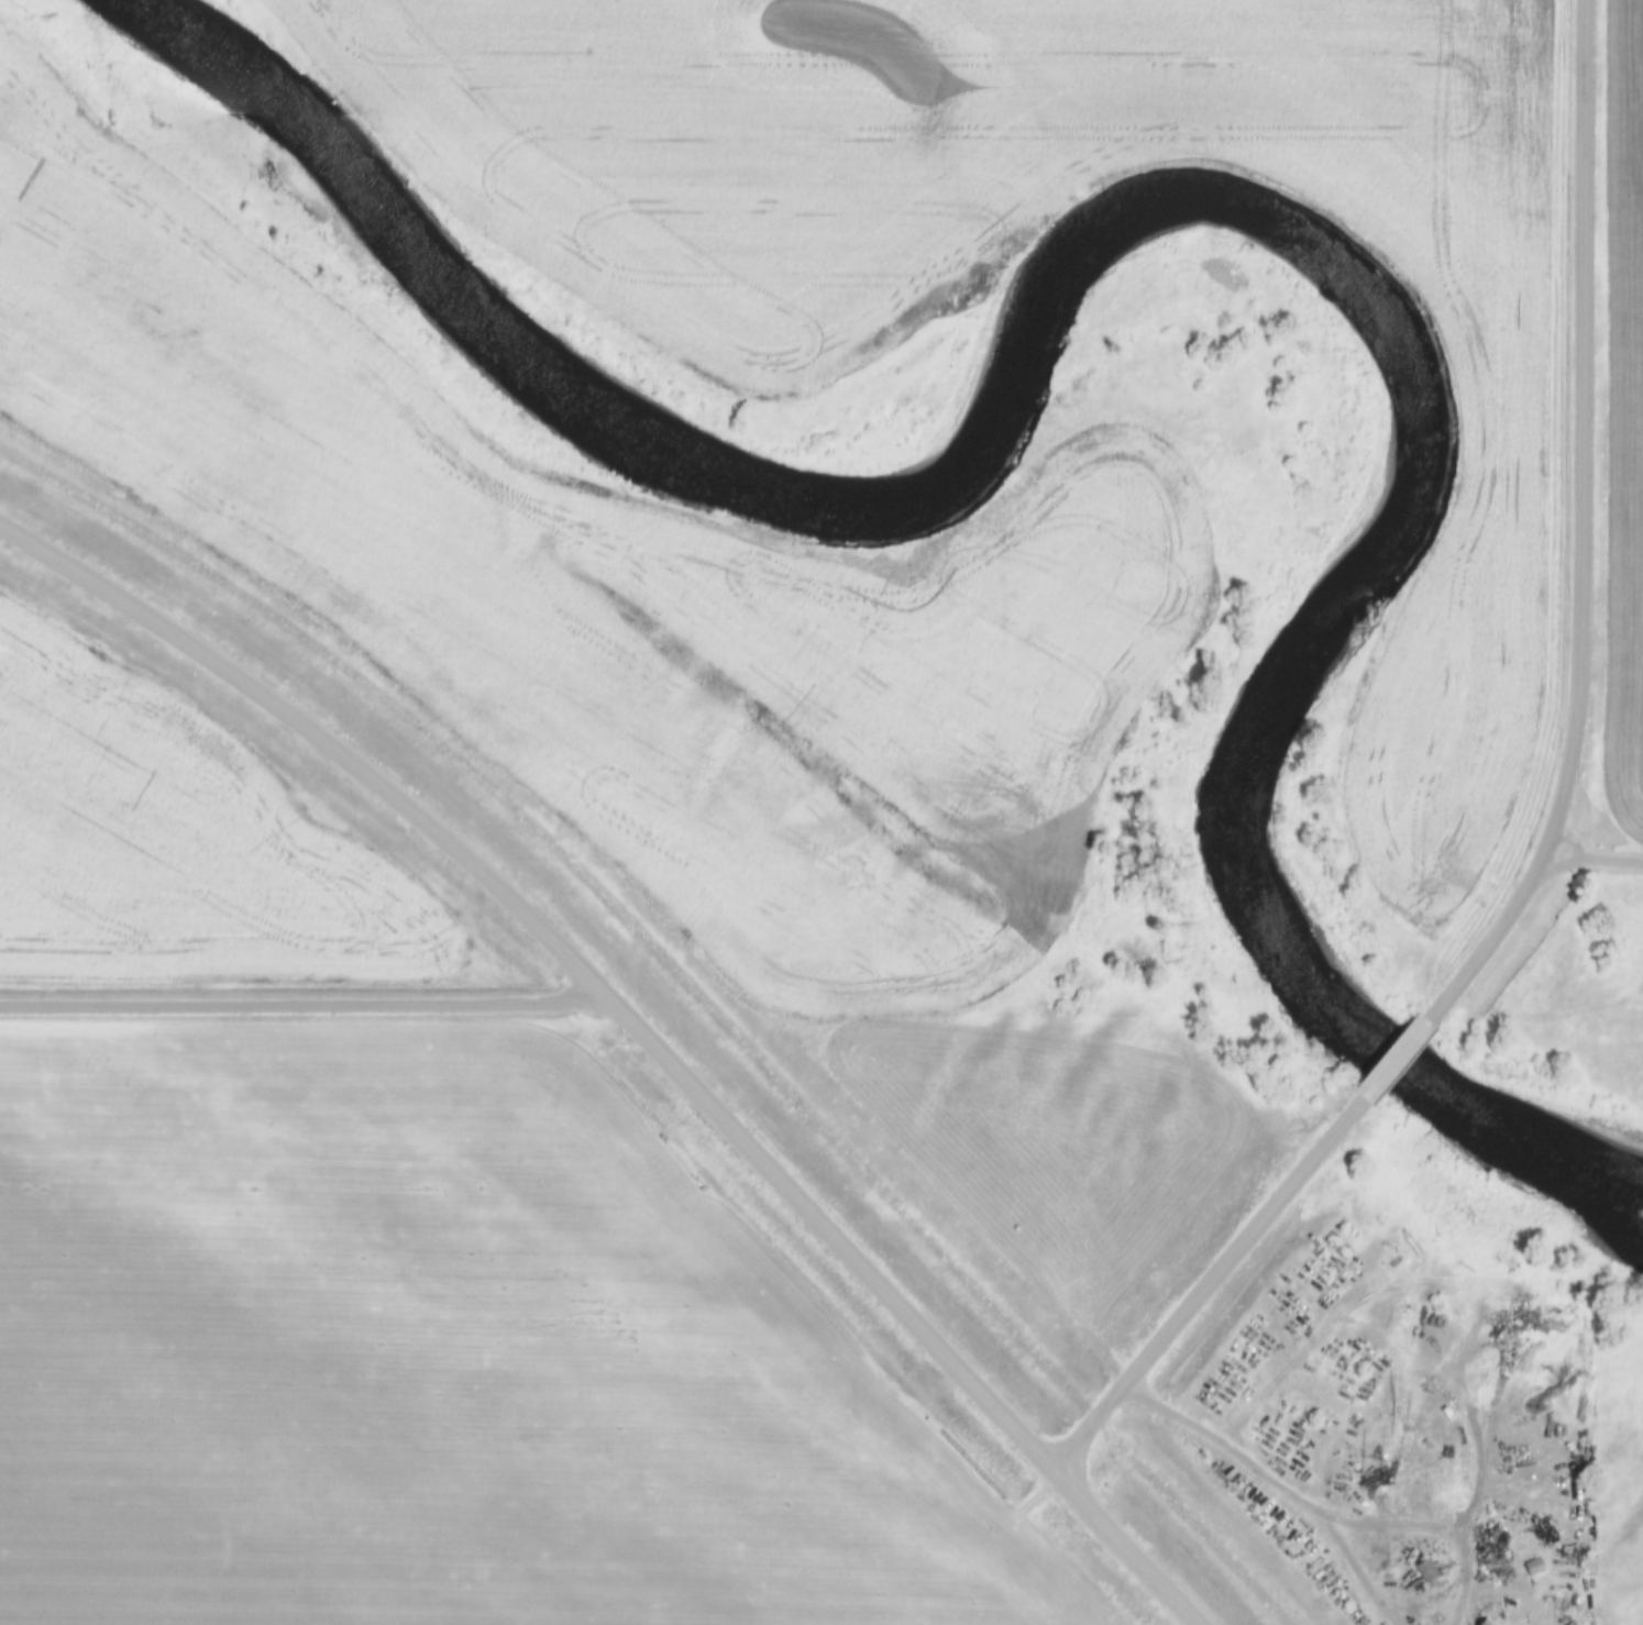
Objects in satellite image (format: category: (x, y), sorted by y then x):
river: (1171, 194)
road: (1581, 530)
road: (1591, 859)
railway: (687, 983)
road: (302, 998)
road: (637, 1030)
road: (1392, 1057)
road: (1204, 1282)
road: (1226, 1444)
road: (1437, 1523)
building: (1426, 1570)
road: (1359, 1572)
building: (1485, 1622)

